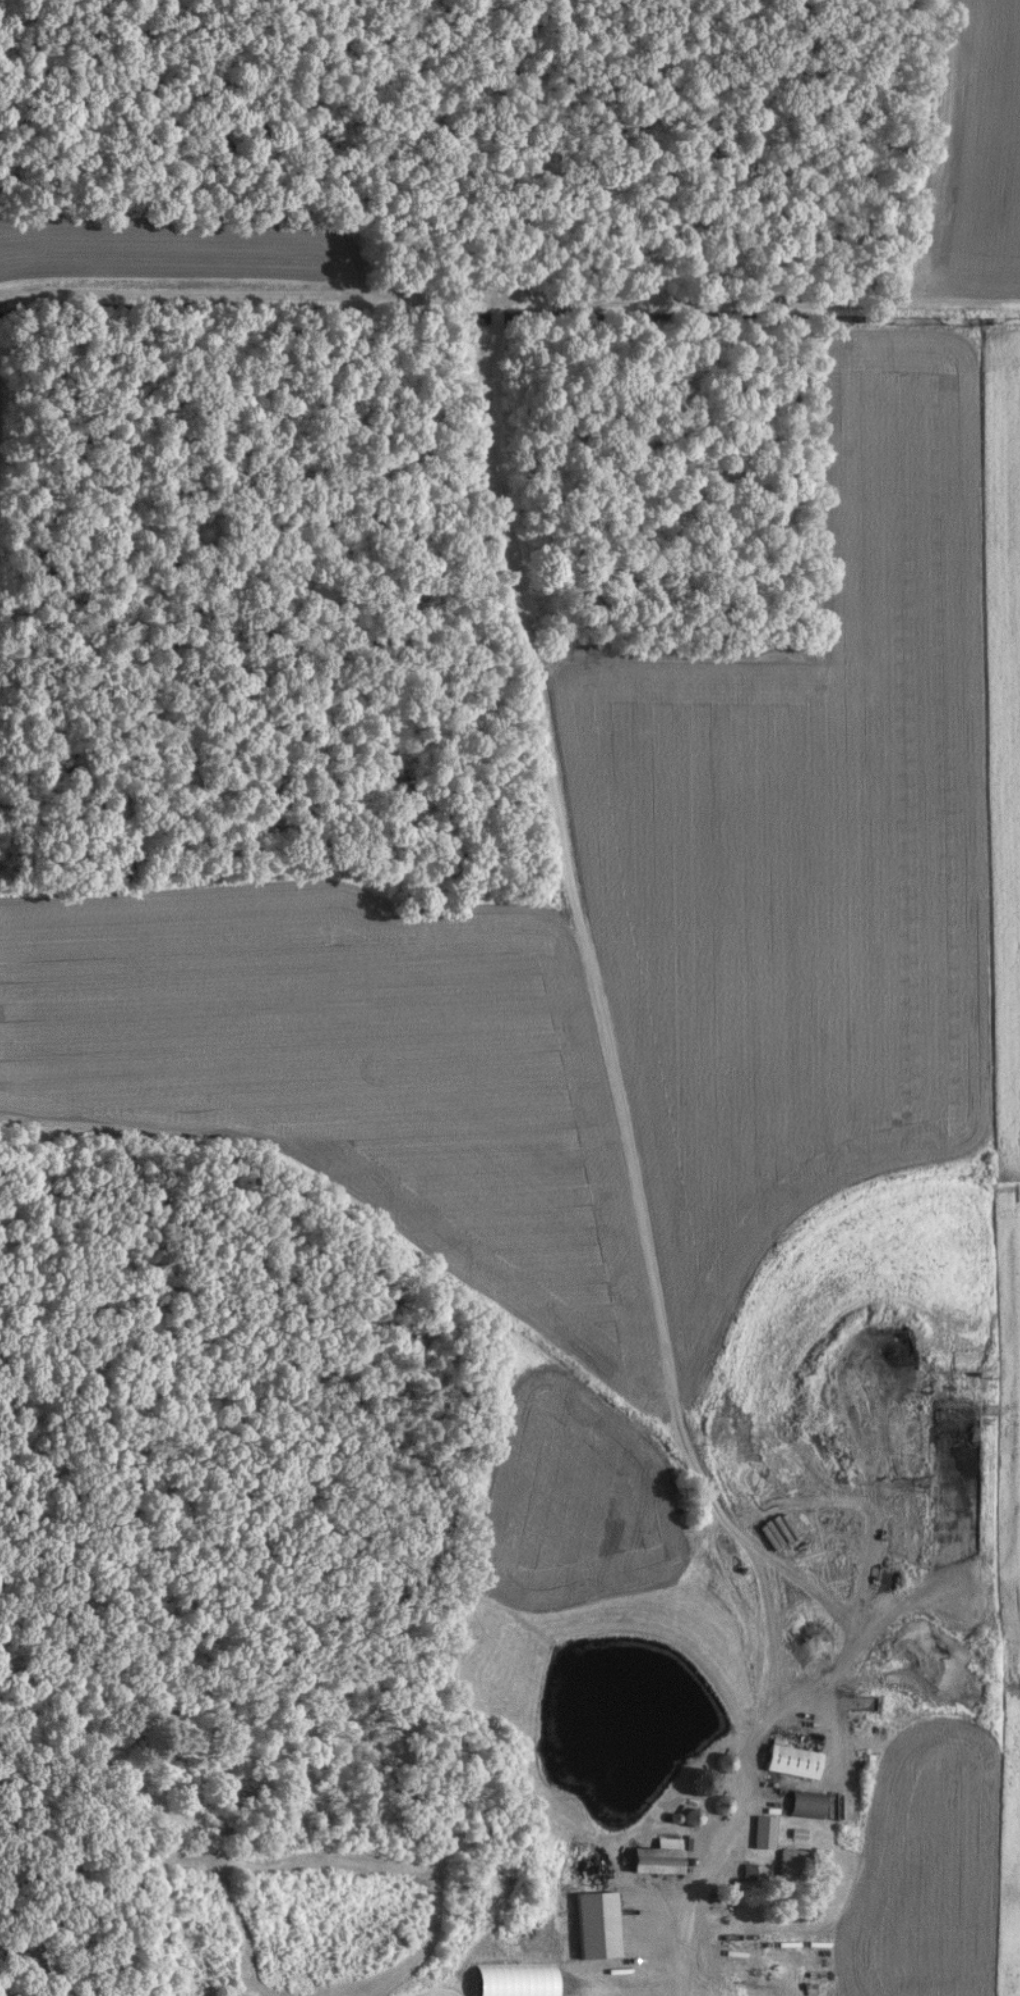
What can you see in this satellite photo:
building: (119, 1739)
building: (789, 1764)
building: (721, 1765)
road: (750, 1786)
building: (804, 1807)
building: (719, 1808)
building: (688, 1820)
building: (654, 1861)
building: (792, 1864)
road: (180, 1914)
building: (593, 1928)

